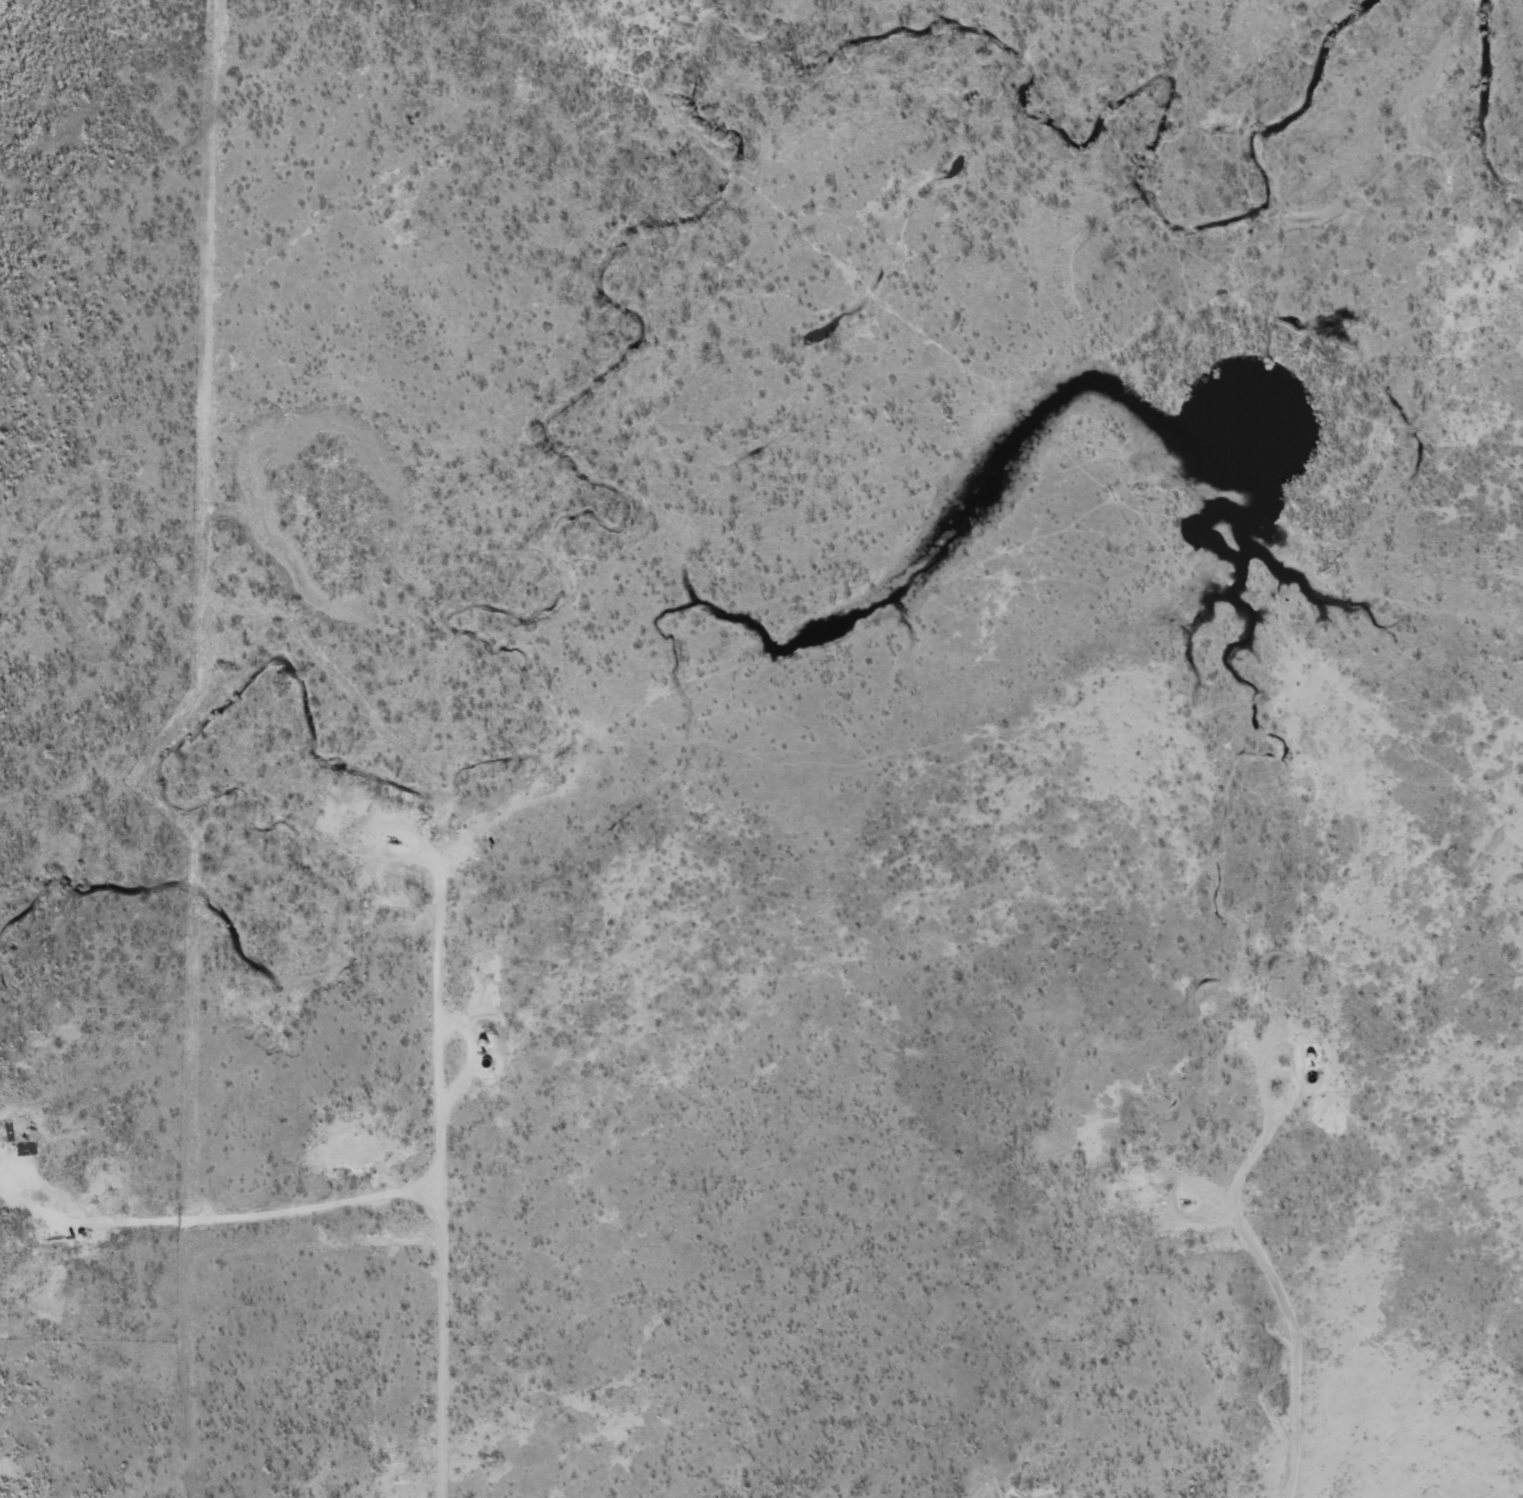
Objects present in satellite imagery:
road: (1471, 613)
road: (213, 641)
road: (437, 1025)

